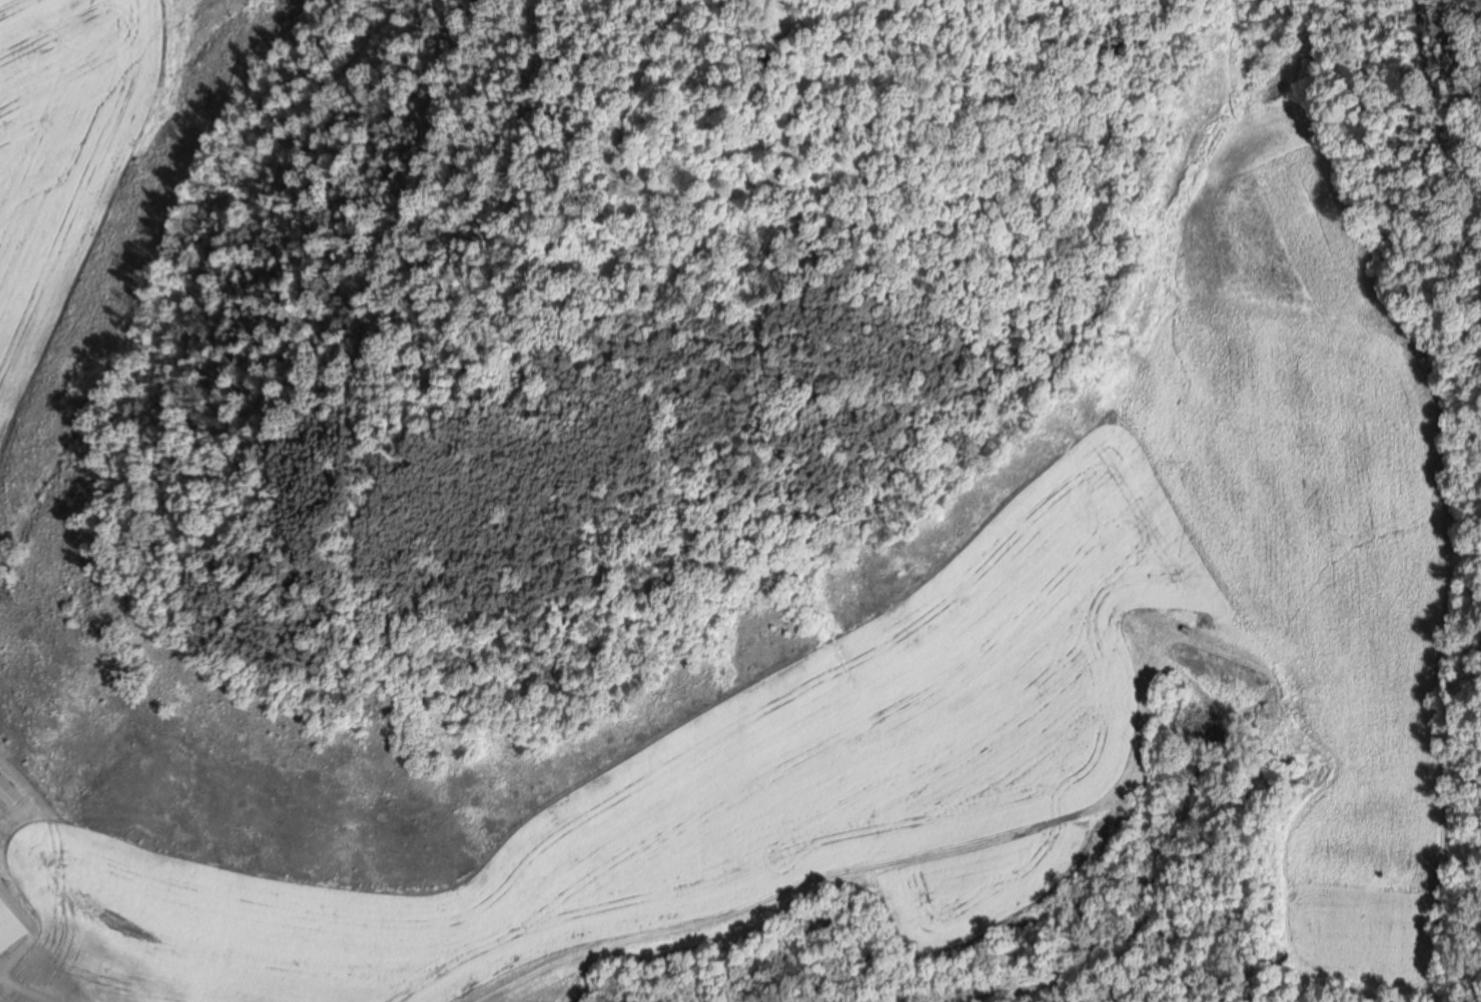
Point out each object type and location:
building: (7, 793)
building: (9, 926)

